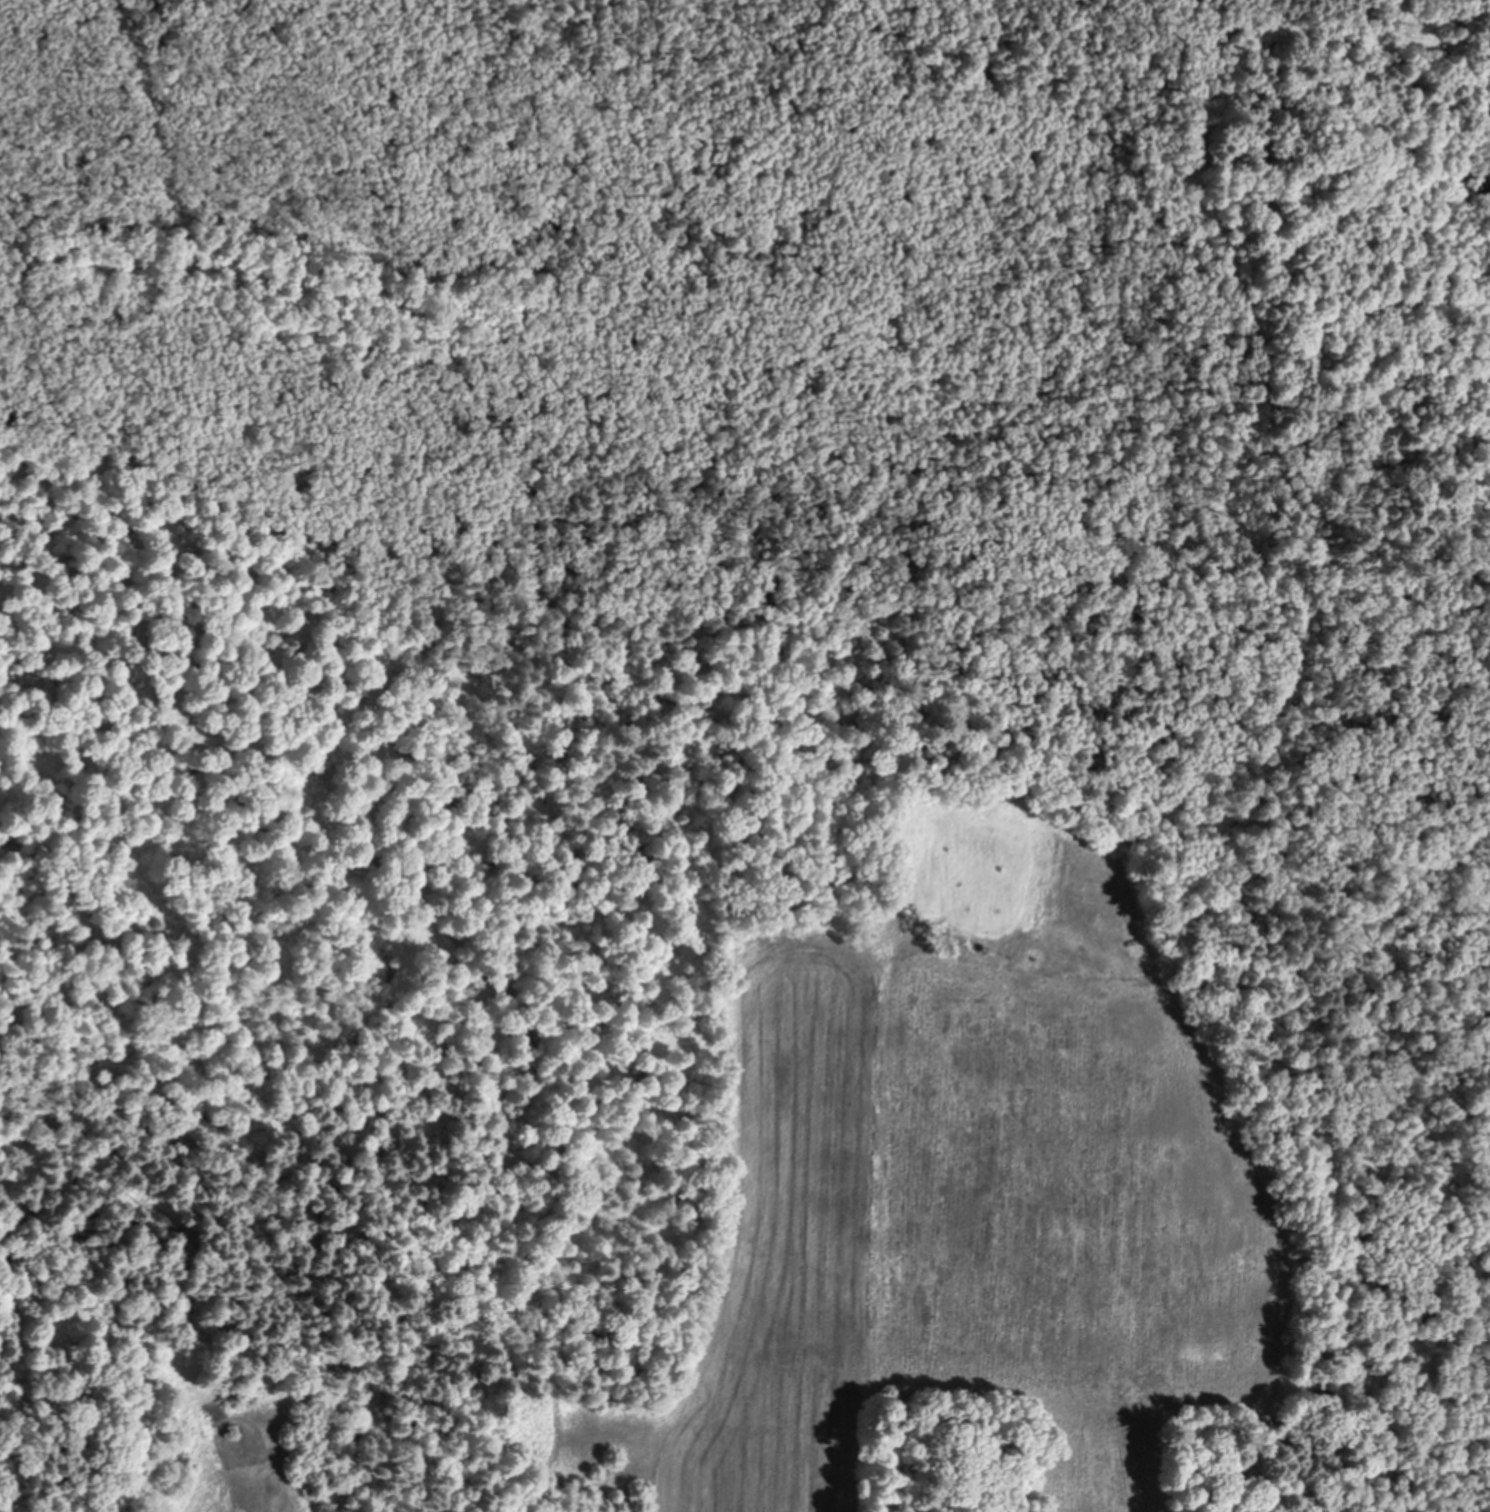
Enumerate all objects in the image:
building: (1260, 1418)

